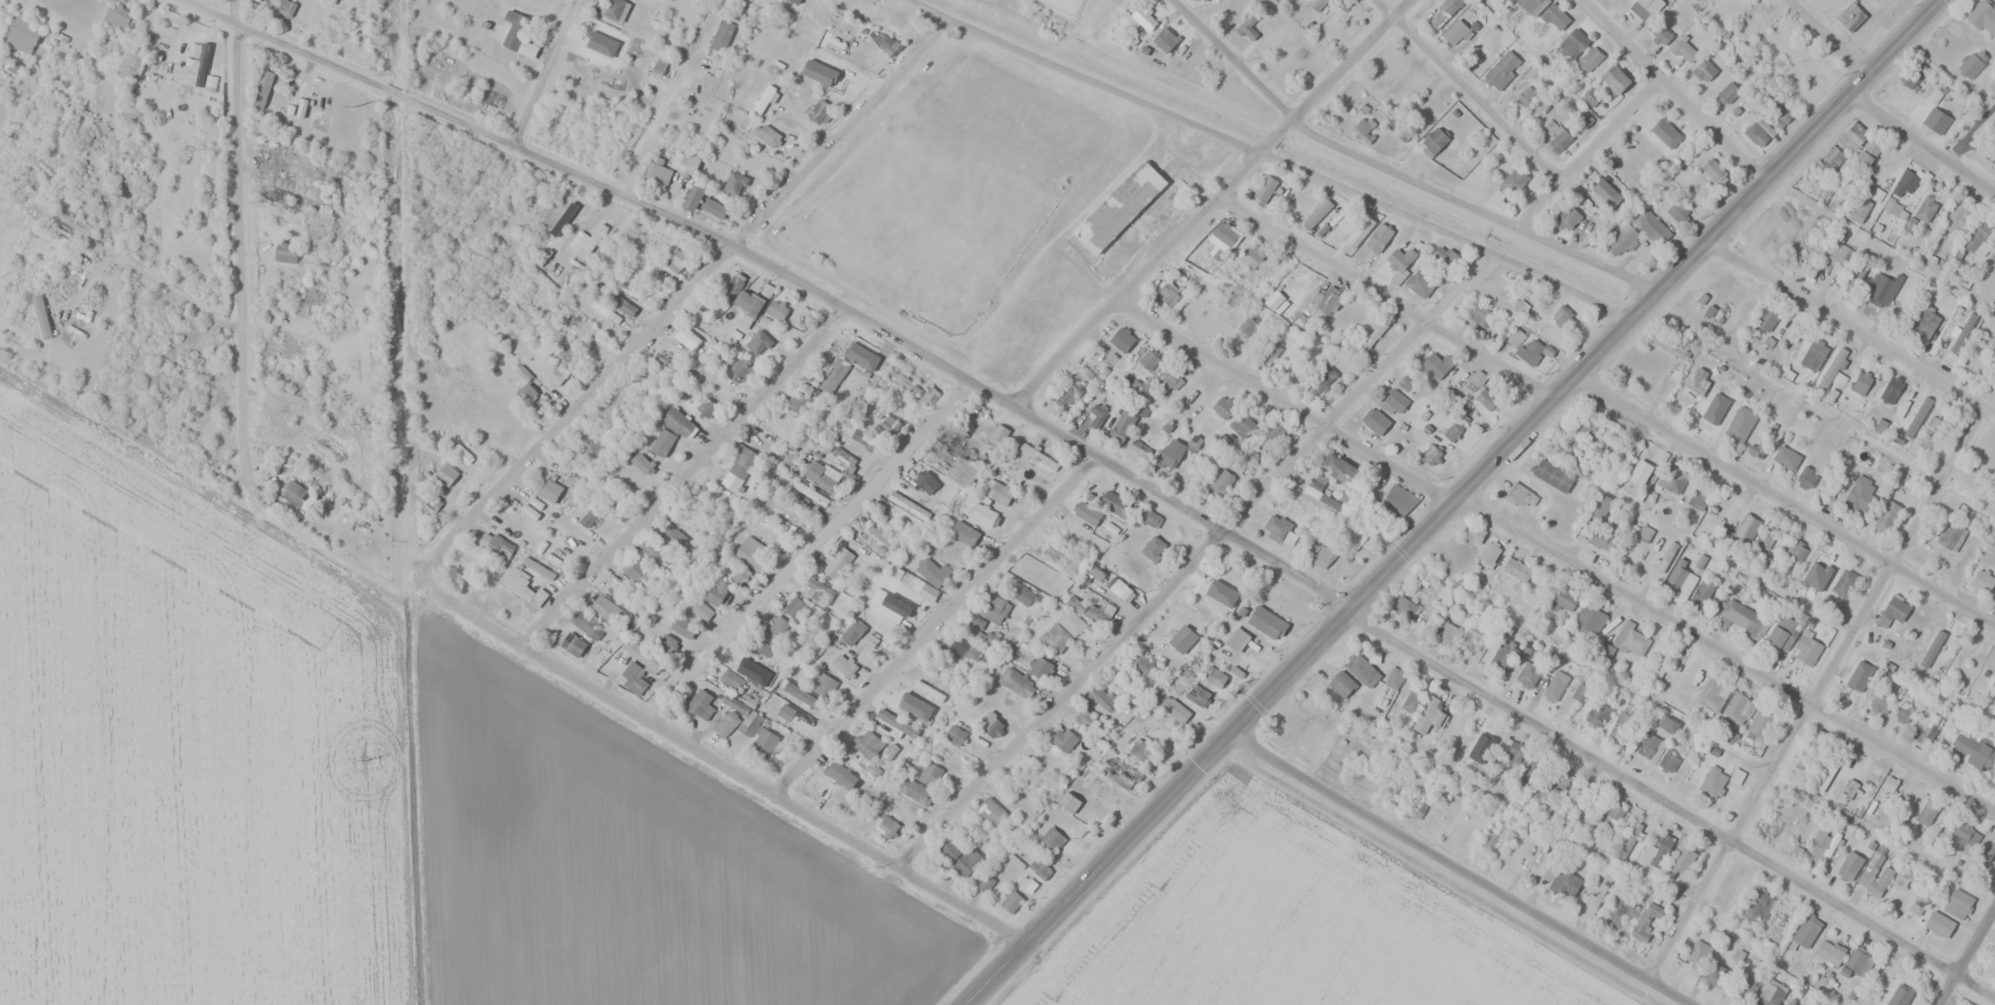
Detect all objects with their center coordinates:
building: (1204, 0)
building: (1316, 4)
building: (1533, 5)
building: (279, 6)
building: (613, 9)
building: (1753, 10)
building: (1444, 14)
building: (1983, 15)
building: (117, 16)
building: (1145, 16)
building: (1555, 17)
building: (1852, 17)
building: (894, 20)
building: (515, 29)
building: (1249, 32)
building: (1455, 32)
building: (1659, 33)
building: (22, 35)
building: (1164, 39)
road: (1827, 40)
building: (1573, 42)
building: (889, 45)
building: (1684, 50)
road: (1231, 57)
building: (1590, 58)
building: (131, 59)
building: (872, 60)
building: (1973, 62)
building: (202, 64)
building: (1826, 68)
building: (1502, 69)
building: (1704, 69)
road: (544, 75)
building: (1615, 78)
building: (210, 83)
building: (842, 83)
building: (261, 89)
road: (1473, 91)
road: (1674, 92)
building: (1728, 92)
building: (1526, 94)
building: (1591, 97)
building: (1900, 101)
power tower: (354, 107)
building: (818, 110)
building: (1779, 110)
building: (1664, 121)
building: (1856, 133)
building: (1756, 134)
building: (766, 135)
road: (838, 137)
building: (1559, 140)
building: (1433, 141)
road: (1923, 143)
road: (1265, 153)
building: (1868, 153)
road: (1589, 155)
building: (1833, 155)
building: (1713, 169)
building: (659, 173)
building: (310, 176)
building: (1513, 179)
building: (1907, 181)
building: (734, 183)
building: (1265, 188)
building: (1606, 193)
road: (1215, 205)
building: (712, 207)
building: (1119, 207)
building: (1675, 208)
building: (1926, 208)
road: (1472, 209)
building: (1957, 214)
building: (1857, 215)
building: (1568, 218)
building: (1314, 225)
building: (1652, 227)
building: (1225, 233)
building: (1977, 234)
building: (1378, 237)
building: (588, 238)
road: (242, 240)
building: (1622, 240)
building: (1203, 248)
building: (286, 252)
building: (1840, 253)
building: (1252, 255)
building: (1446, 256)
building: (1993, 256)
building: (1401, 259)
building: (675, 260)
road: (140, 271)
road: (779, 276)
building: (1420, 283)
building: (63, 285)
building: (732, 286)
building: (1882, 288)
building: (1169, 293)
building: (309, 296)
building: (1328, 300)
road: (1386, 300)
building: (751, 309)
building: (776, 310)
building: (605, 311)
building: (1561, 316)
building: (1767, 317)
building: (801, 318)
building: (574, 320)
road: (1852, 324)
building: (1925, 324)
building: (1247, 325)
building: (1371, 337)
building: (687, 338)
building: (1121, 339)
building: (758, 342)
building: (1668, 346)
building: (1525, 347)
building: (1269, 353)
building: (1814, 355)
building: (1147, 359)
building: (673, 365)
building: (1292, 366)
building: (1434, 366)
building: (1834, 366)
building: (560, 367)
building: (739, 369)
building: (1083, 373)
building: (832, 374)
building: (1165, 378)
building: (1323, 379)
building: (902, 380)
building: (1699, 380)
building: (1861, 382)
building: (1405, 383)
building: (1891, 389)
building: (523, 390)
building: (930, 393)
road: (1280, 395)
building: (1396, 400)
road: (587, 403)
building: (797, 403)
building: (1910, 405)
building: (706, 406)
building: (1222, 406)
building: (1095, 416)
building: (1712, 419)
building: (887, 420)
building: (677, 421)
building: (1377, 422)
building: (1585, 423)
power tower: (356, 424)
building: (1740, 424)
building: (1242, 425)
building: (1122, 426)
building: (1276, 429)
building: (1451, 432)
building: (999, 434)
building: (865, 440)
building: (956, 441)
building: (660, 442)
building: (1194, 442)
building: (1139, 447)
building: (219, 450)
building: (461, 453)
building: (1431, 454)
building: (1855, 454)
building: (1039, 456)
building: (841, 457)
building: (1167, 458)
building: (1787, 458)
building: (641, 462)
building: (738, 468)
building: (1339, 469)
building: (963, 472)
building: (446, 473)
road: (681, 475)
building: (1553, 475)
building: (1807, 477)
building: (1220, 480)
building: (1676, 481)
building: (925, 482)
building: (548, 489)
building: (998, 492)
building: (1860, 494)
building: (296, 495)
building: (1523, 496)
building: (800, 497)
building: (1321, 497)
building: (1699, 498)
building: (1399, 501)
road: (1784, 501)
building: (1115, 504)
road: (1457, 504)
building: (907, 506)
building: (1601, 507)
building: (1085, 514)
building: (983, 515)
building: (1886, 516)
building: (1149, 517)
building: (587, 518)
building: (1373, 525)
building: (1278, 529)
building: (1745, 530)
building: (964, 533)
building: (1474, 533)
building: (1645, 534)
building: (672, 535)
building: (1354, 536)
building: (1951, 536)
building: (1767, 539)
building: (500, 547)
building: (1153, 548)
building: (650, 549)
building: (750, 550)
road: (804, 551)
building: (1795, 551)
building: (1490, 553)
building: (1056, 554)
building: (1319, 555)
building: (874, 559)
building: (837, 562)
road: (1198, 566)
building: (538, 567)
building: (1811, 567)
building: (1222, 568)
building: (1517, 570)
building: (933, 572)
building: (638, 573)
building: (906, 579)
building: (1983, 579)
building: (1680, 583)
building: (1845, 583)
building: (522, 585)
building: (1115, 586)
building: (716, 591)
building: (818, 591)
building: (1702, 592)
building: (1214, 593)
building: (1026, 596)
building: (1565, 598)
building: (599, 604)
building: (889, 606)
building: (794, 607)
building: (993, 608)
building: (1406, 608)
building: (702, 609)
building: (1893, 611)
building: (1096, 614)
building: (1741, 616)
building: (1589, 620)
building: (1070, 622)
building: (1272, 625)
building: (775, 626)
road: (939, 627)
building: (682, 628)
building: (1452, 629)
building: (853, 632)
building: (1011, 632)
building: (1783, 633)
building: (1055, 637)
building: (1472, 638)
building: (1183, 639)
building: (1632, 639)
building: (1938, 639)
building: (667, 644)
building: (761, 644)
building: (573, 645)
building: (966, 648)
building: (1806, 648)
building: (1606, 650)
building: (646, 656)
building: (1503, 657)
road: (1726, 658)
building: (841, 663)
building: (1142, 664)
building: (743, 667)
building: (1040, 667)
building: (1359, 668)
building: (1215, 673)
building: (1528, 674)
building: (1860, 674)
building: (633, 677)
building: (1394, 678)
building: (731, 681)
building: (1016, 682)
building: (1342, 684)
building: (823, 685)
building: (1554, 689)
road: (1824, 689)
building: (932, 691)
building: (1580, 692)
building: (1712, 693)
building: (1197, 695)
building: (803, 696)
building: (1101, 697)
building: (1412, 701)
building: (1880, 703)
building: (700, 704)
building: (907, 705)
building: (1738, 708)
building: (1175, 710)
building: (1903, 712)
building: (1597, 713)
building: (787, 714)
building: (1430, 714)
building: (1085, 719)
building: (726, 724)
building: (1667, 724)
building: (1926, 724)
building: (991, 725)
building: (1621, 726)
building: (1761, 729)
building: (955, 734)
building: (1064, 739)
building: (765, 741)
building: (1647, 745)
building: (868, 748)
building: (1974, 749)
building: (1141, 750)
building: (890, 751)
building: (1514, 751)
road: (716, 758)
power tower: (365, 760)
building: (1668, 761)
building: (930, 773)
building: (1121, 773)
building: (840, 774)
building: (1560, 779)
building: (1714, 782)
building: (819, 788)
building: (1866, 788)
building: (917, 793)
building: (1107, 793)
building: (1069, 802)
road: (1671, 803)
building: (1418, 808)
building: (992, 811)
building: (1924, 812)
building: (1614, 813)
building: (887, 826)
building: (1767, 827)
building: (979, 829)
building: (1964, 837)
building: (1051, 839)
building: (1662, 847)
building: (1990, 849)
building: (962, 858)
building: (1683, 860)
building: (1850, 865)
road: (1460, 867)
building: (1040, 868)
building: (1875, 876)
building: (985, 883)
building: (1599, 893)
building: (1011, 902)
building: (1918, 902)
building: (1958, 903)
building: (1758, 906)
building: (1617, 911)
building: (1645, 920)
building: (1782, 920)
building: (1939, 924)
building: (1807, 929)
building: (1703, 941)
building: (1829, 952)
road: (1967, 957)
building: (1857, 962)
building: (1715, 974)
building: (1746, 986)
building: (1771, 993)
building: (1902, 996)

